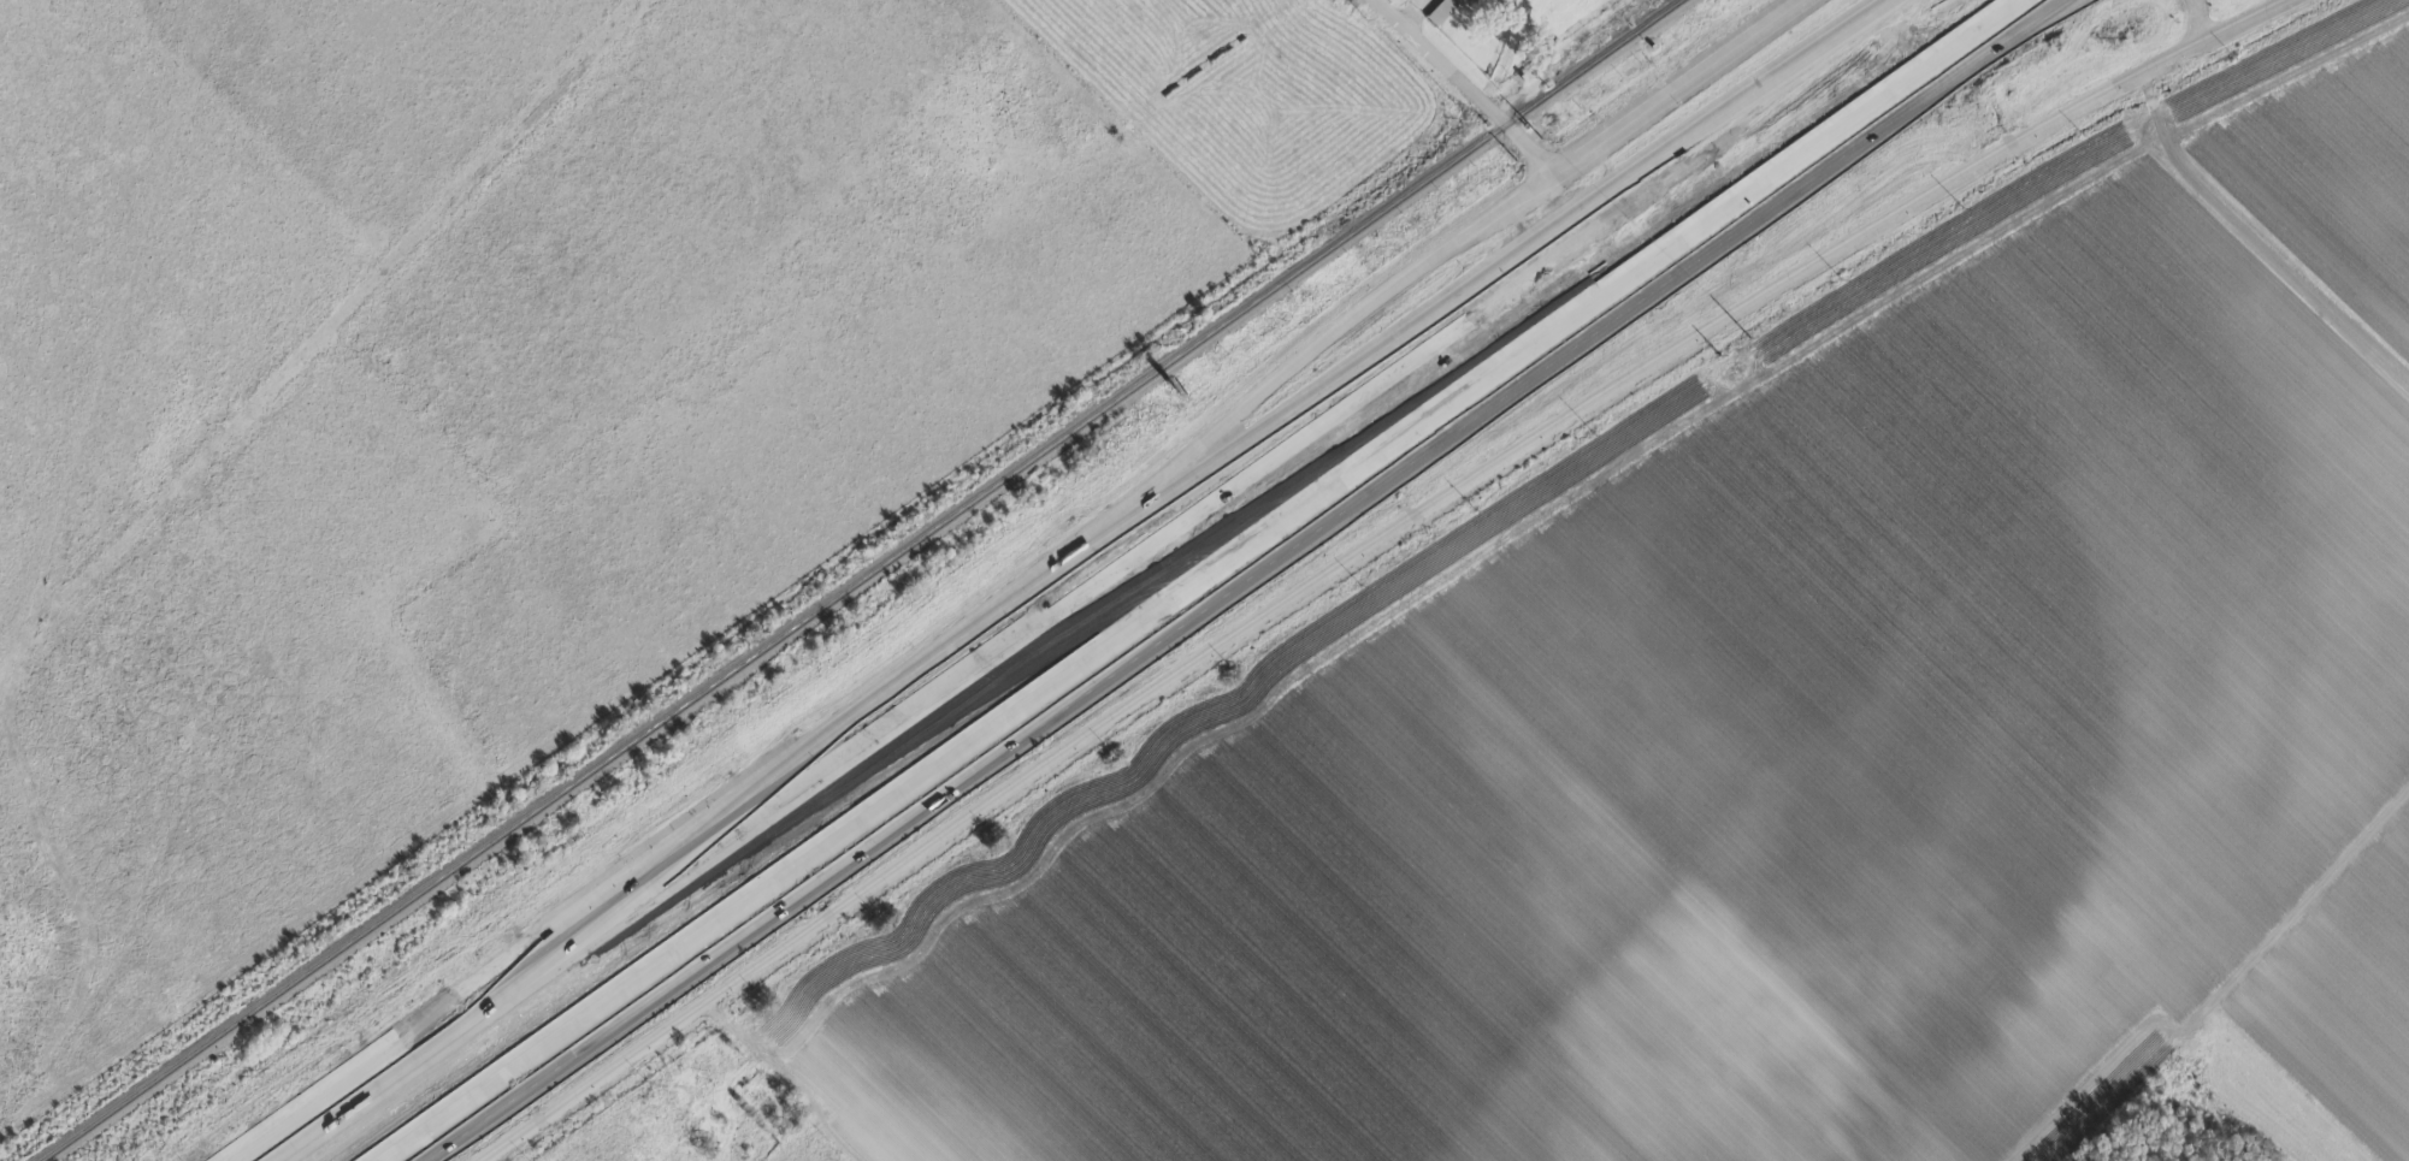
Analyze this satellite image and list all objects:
building: (1525, 4)
building: (1442, 11)
road: (1412, 12)
road: (1465, 85)
road: (1676, 87)
road: (1888, 108)
road: (1769, 176)
road: (1356, 320)
road: (1325, 410)
road: (1366, 546)
railway: (863, 584)
road: (876, 695)
road: (950, 756)
road: (675, 871)
road: (415, 1039)

